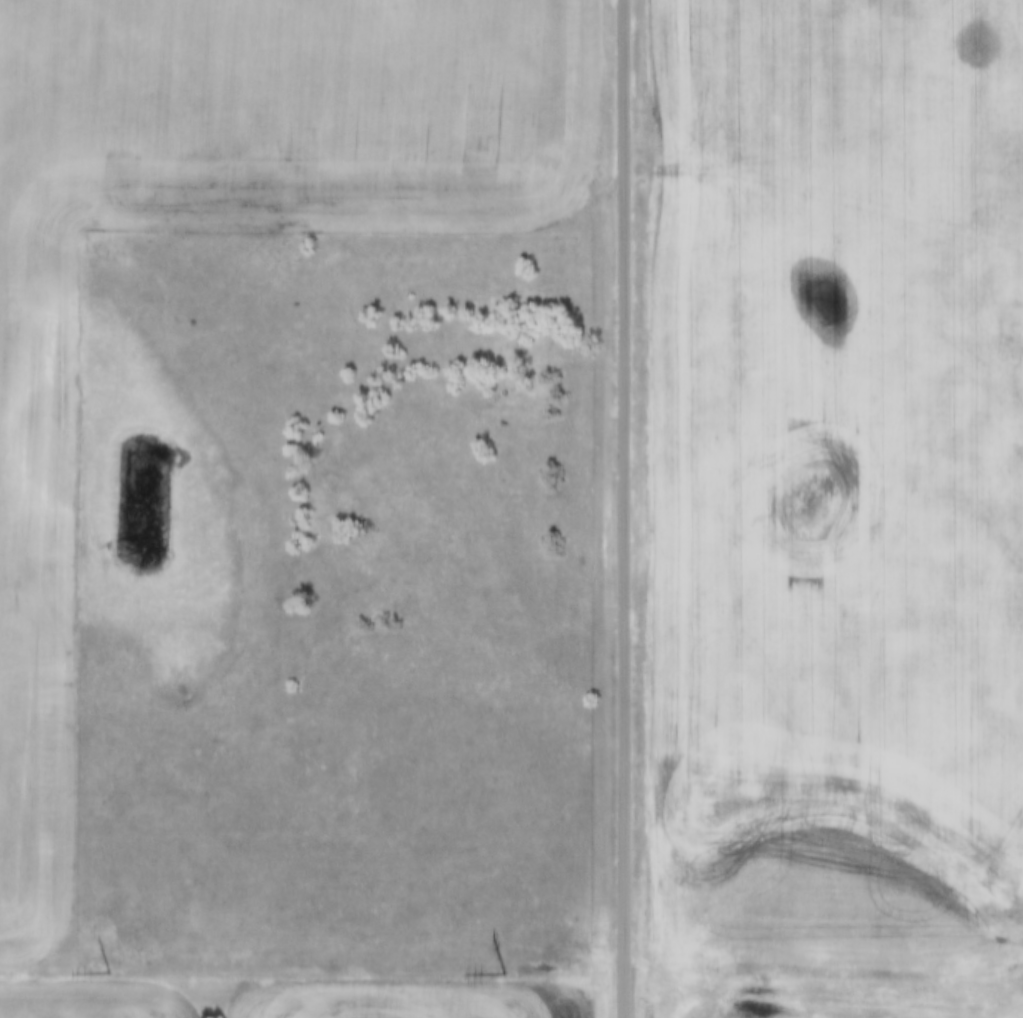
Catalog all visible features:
road: (626, 509)

